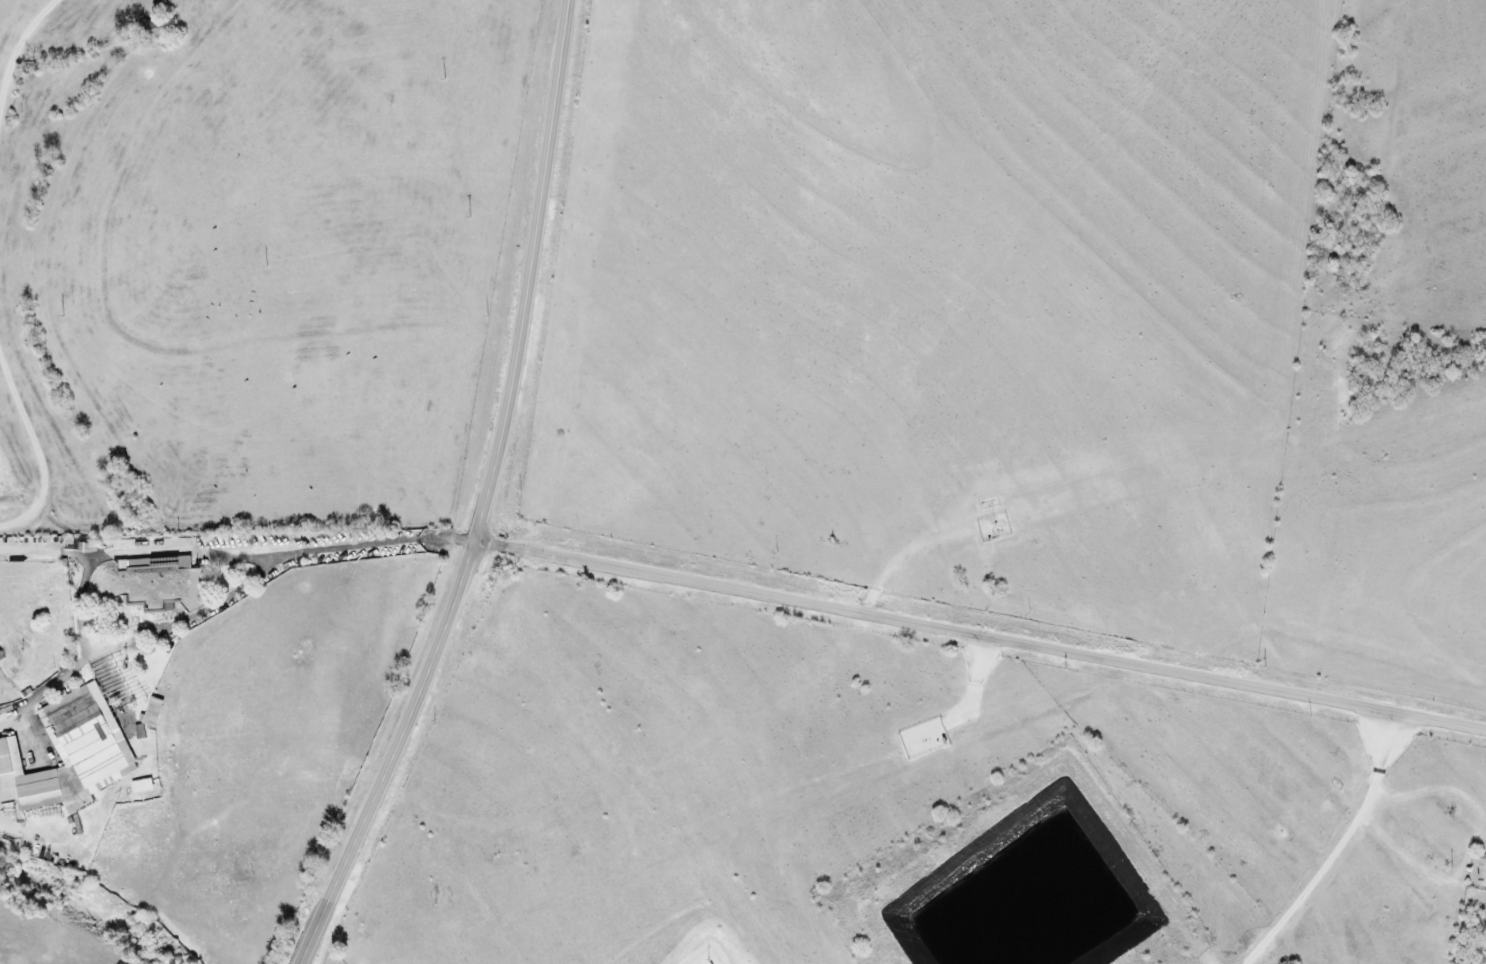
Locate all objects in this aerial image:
road: (13, 82)
road: (38, 438)
road: (489, 497)
road: (982, 633)
building: (1, 656)
building: (67, 753)
building: (142, 785)
road: (1342, 847)

